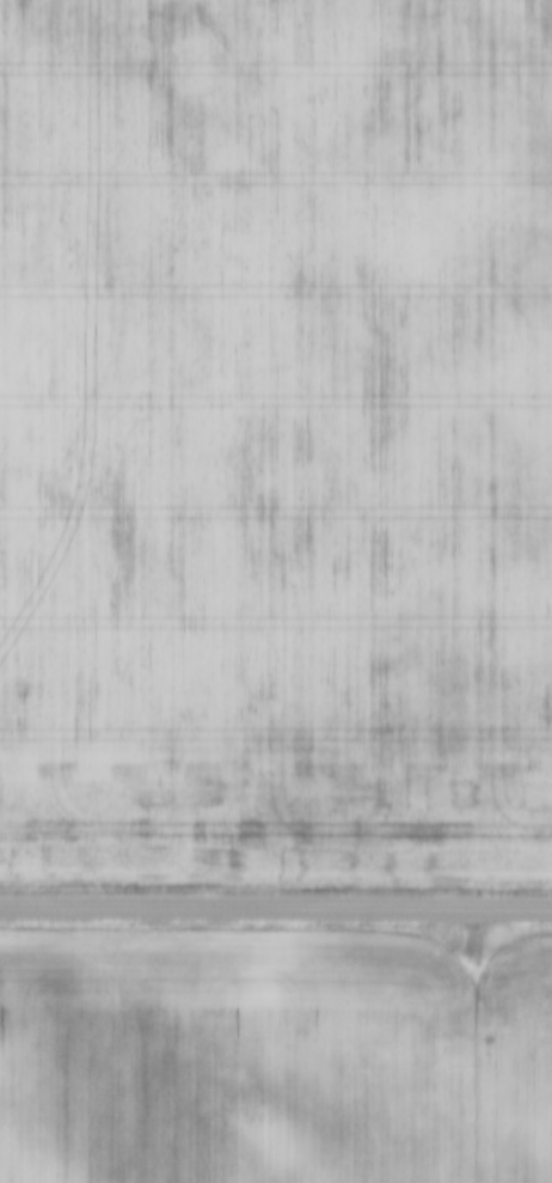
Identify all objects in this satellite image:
road: (275, 908)

